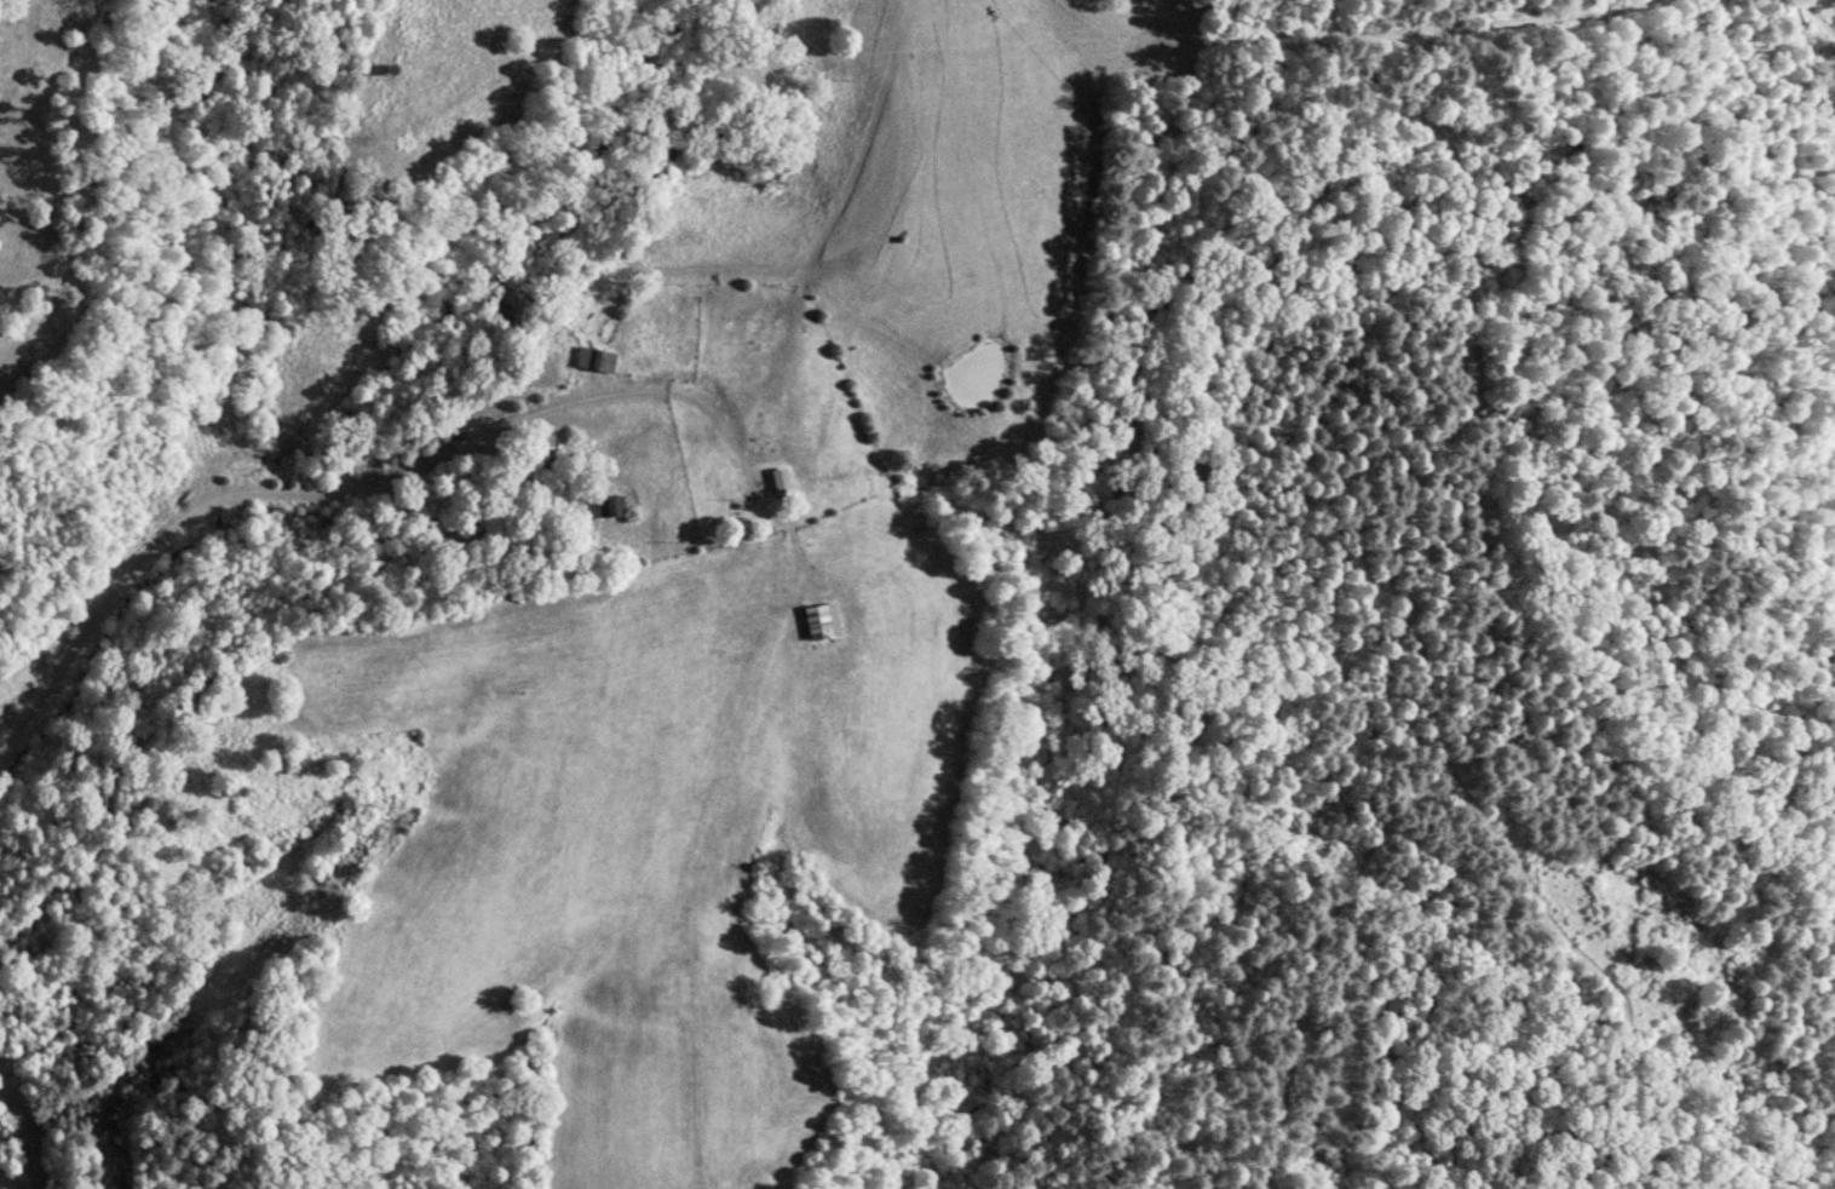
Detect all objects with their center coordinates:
building: (598, 362)

